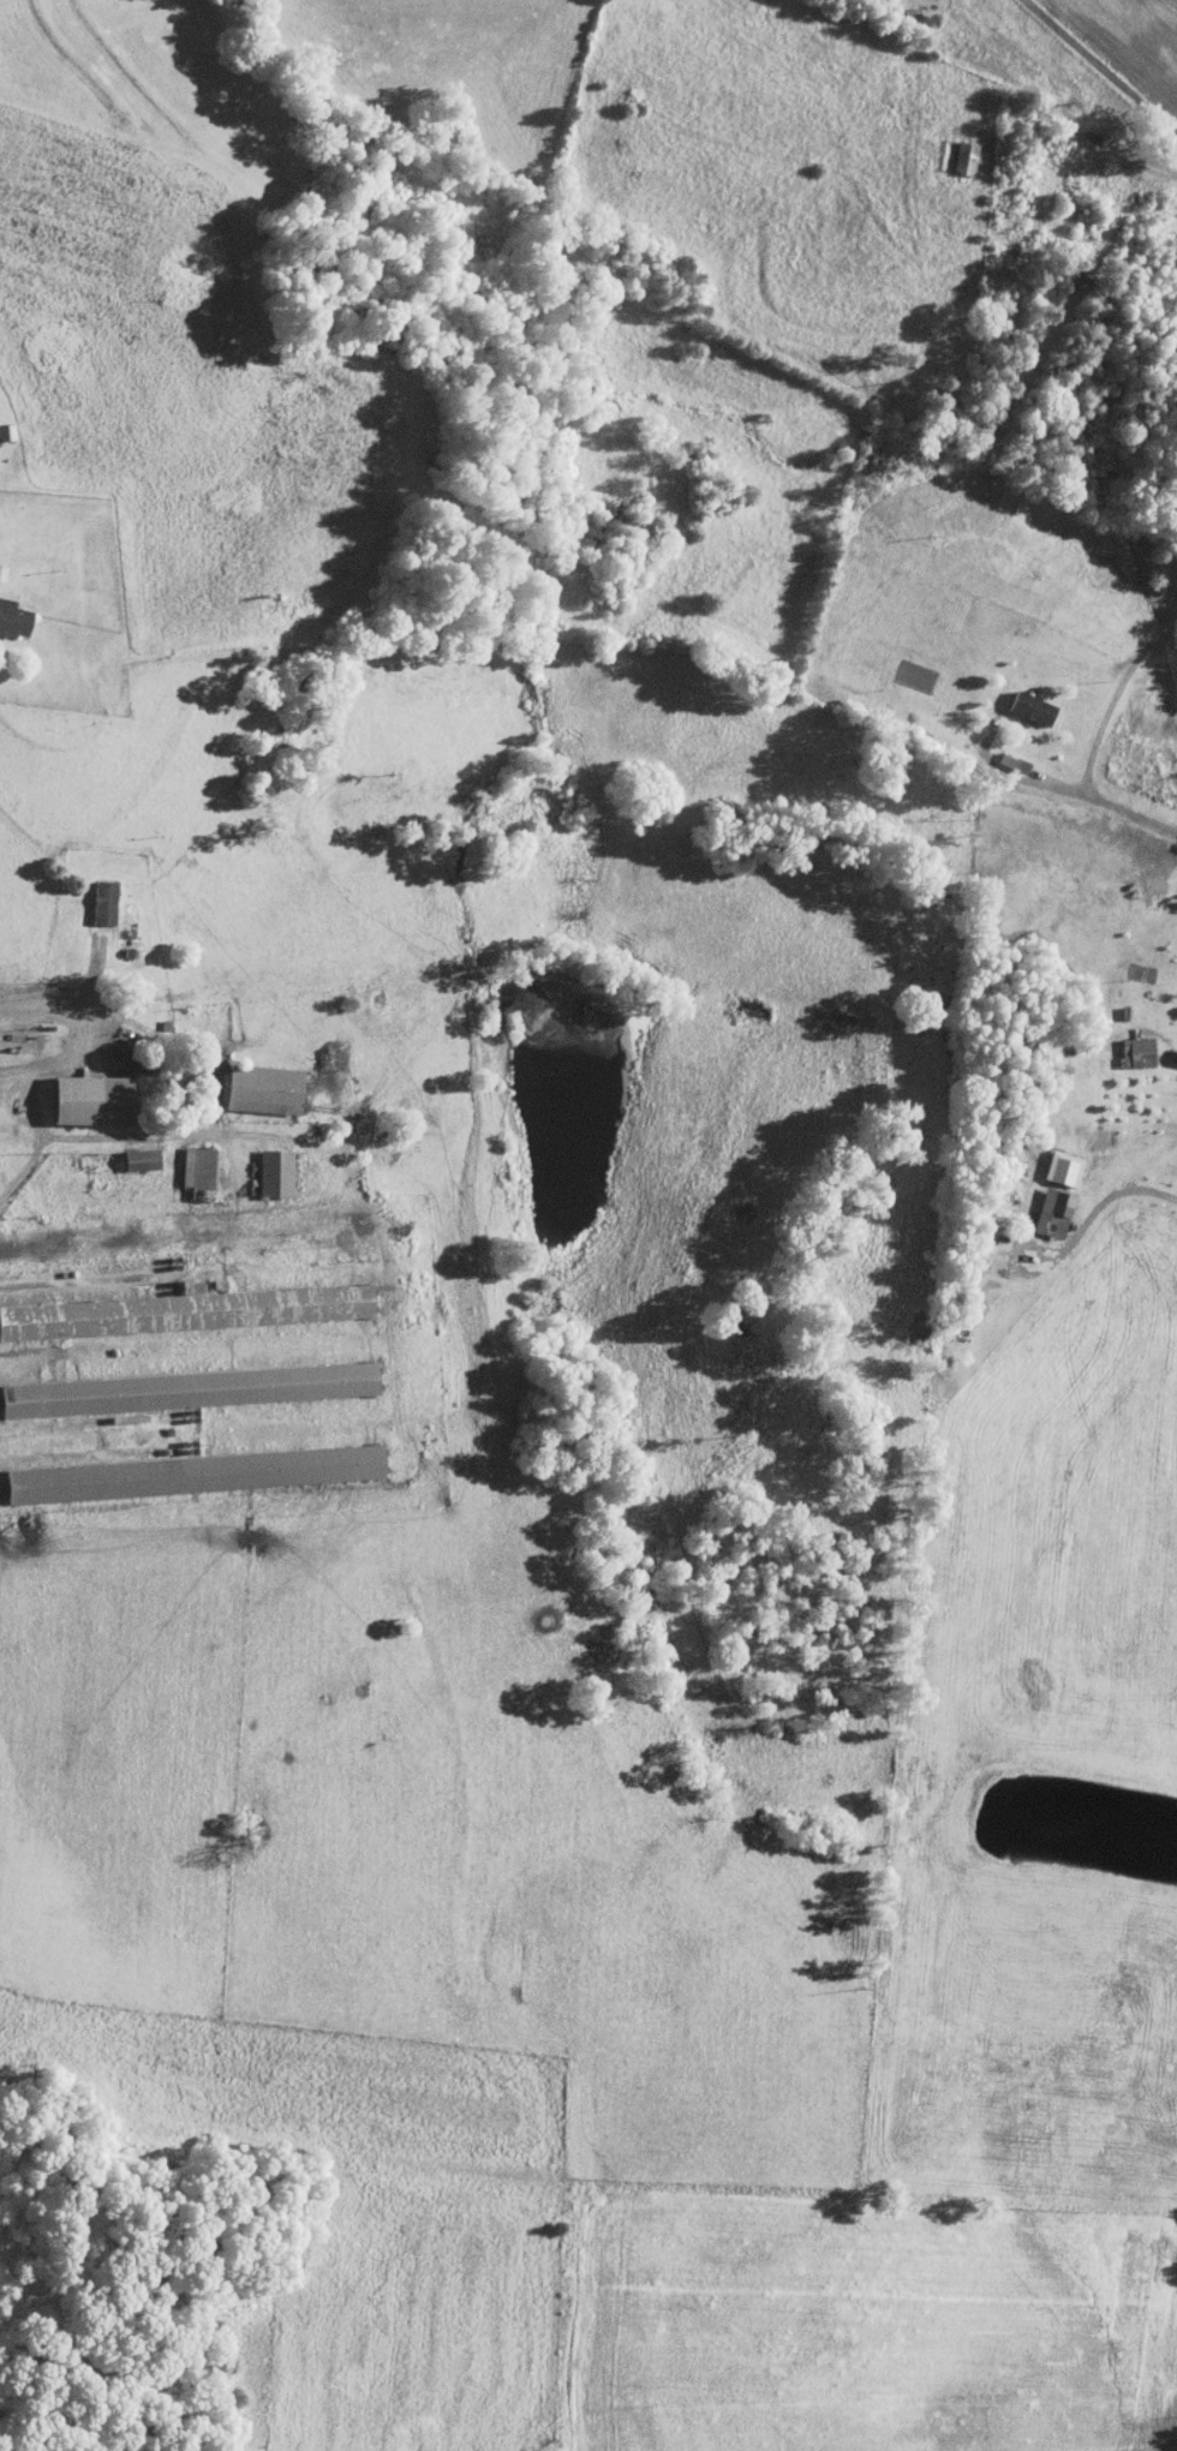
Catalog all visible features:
road: (1098, 71)
building: (962, 159)
building: (11, 617)
road: (1115, 694)
building: (1027, 706)
road: (1076, 790)
building: (100, 901)
road: (102, 1027)
building: (1133, 1052)
building: (258, 1088)
building: (85, 1099)
road: (37, 1142)
building: (136, 1158)
building: (1059, 1168)
building: (193, 1172)
building: (270, 1172)
road: (1109, 1196)
building: (1050, 1212)
building: (186, 1310)
building: (186, 1388)
building: (191, 1473)

